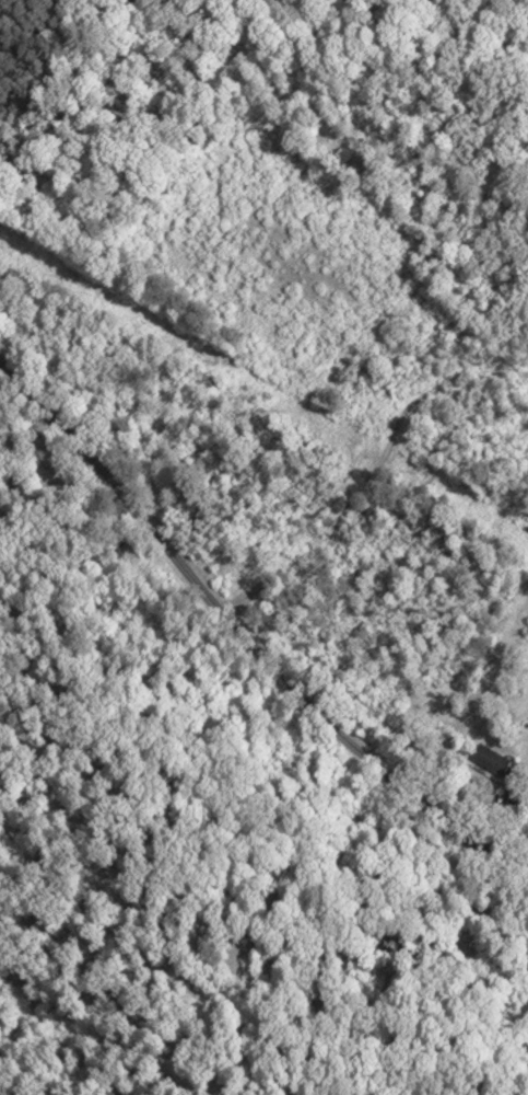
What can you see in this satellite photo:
road: (245, 645)

